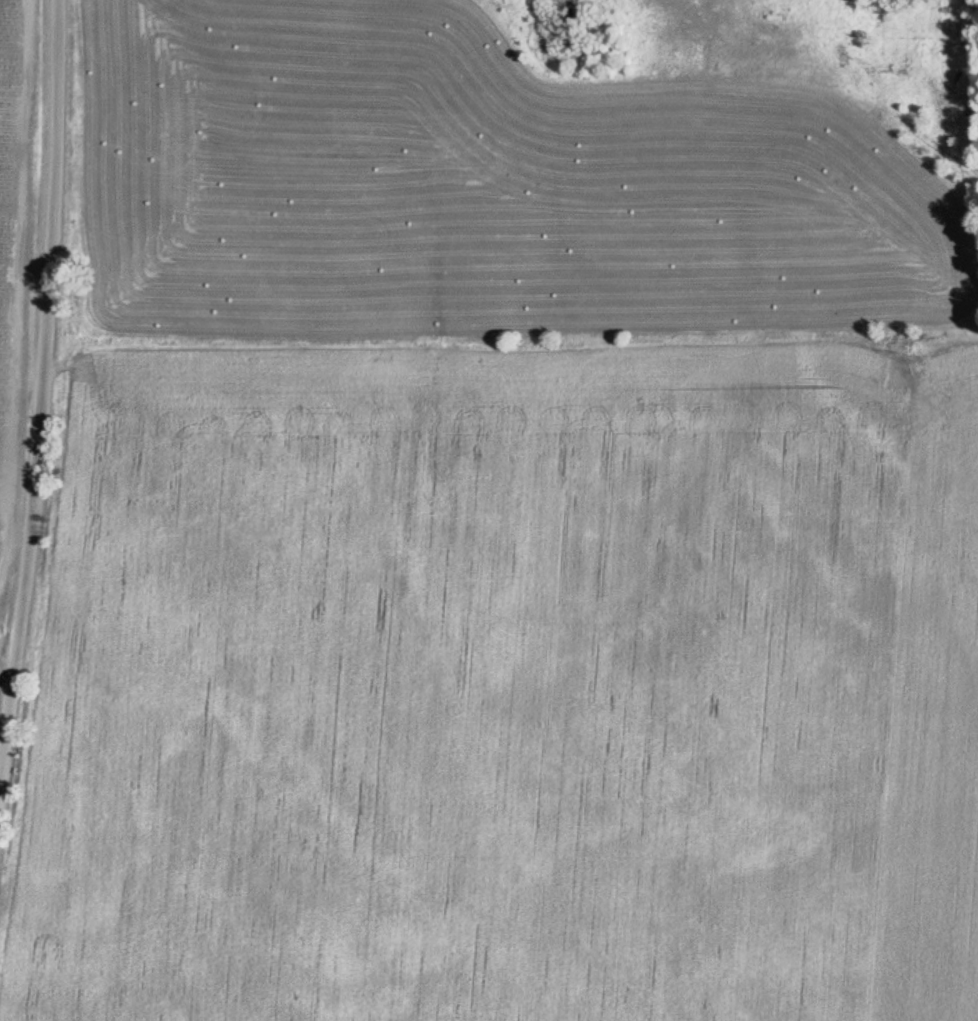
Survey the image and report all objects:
road: (41, 350)
crop: (457, 687)

